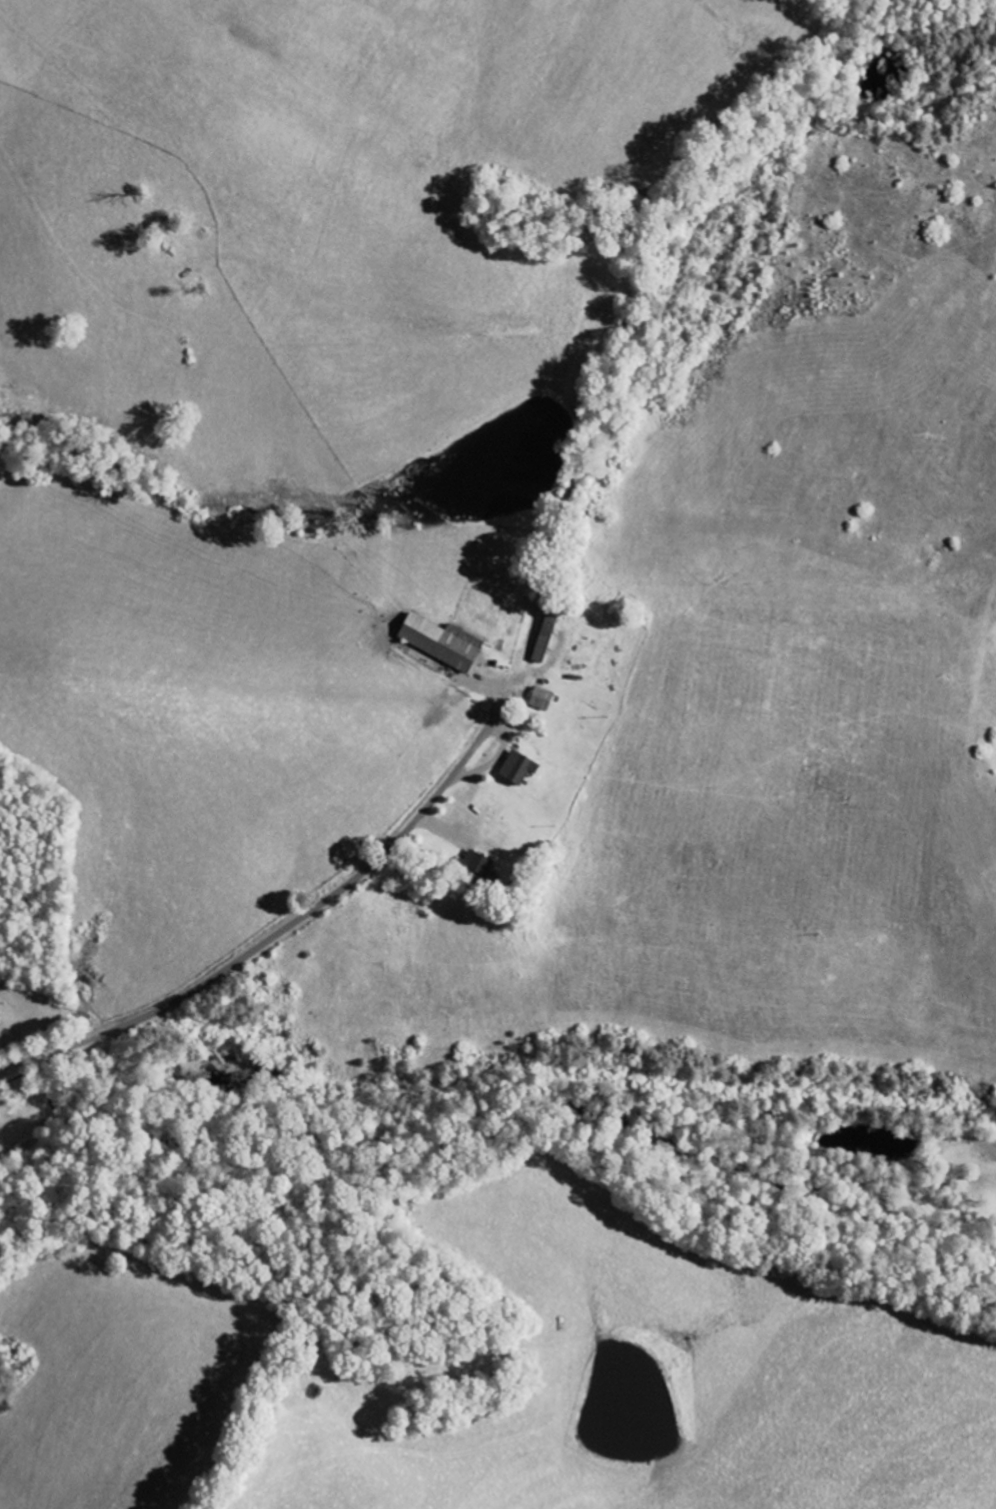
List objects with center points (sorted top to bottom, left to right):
building: (546, 637)
building: (443, 642)
building: (542, 699)
building: (519, 768)
building: (478, 865)
road: (284, 927)

